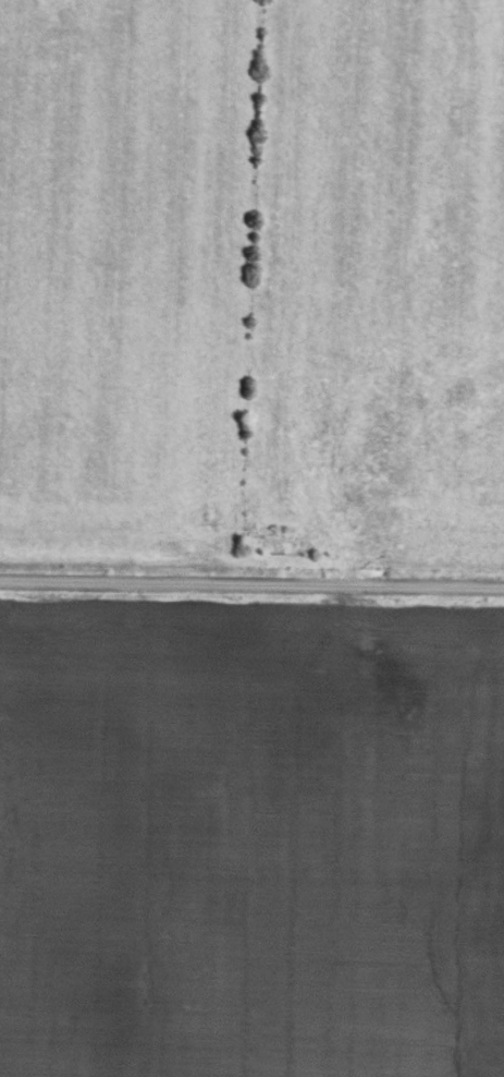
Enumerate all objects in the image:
road: (251, 581)

